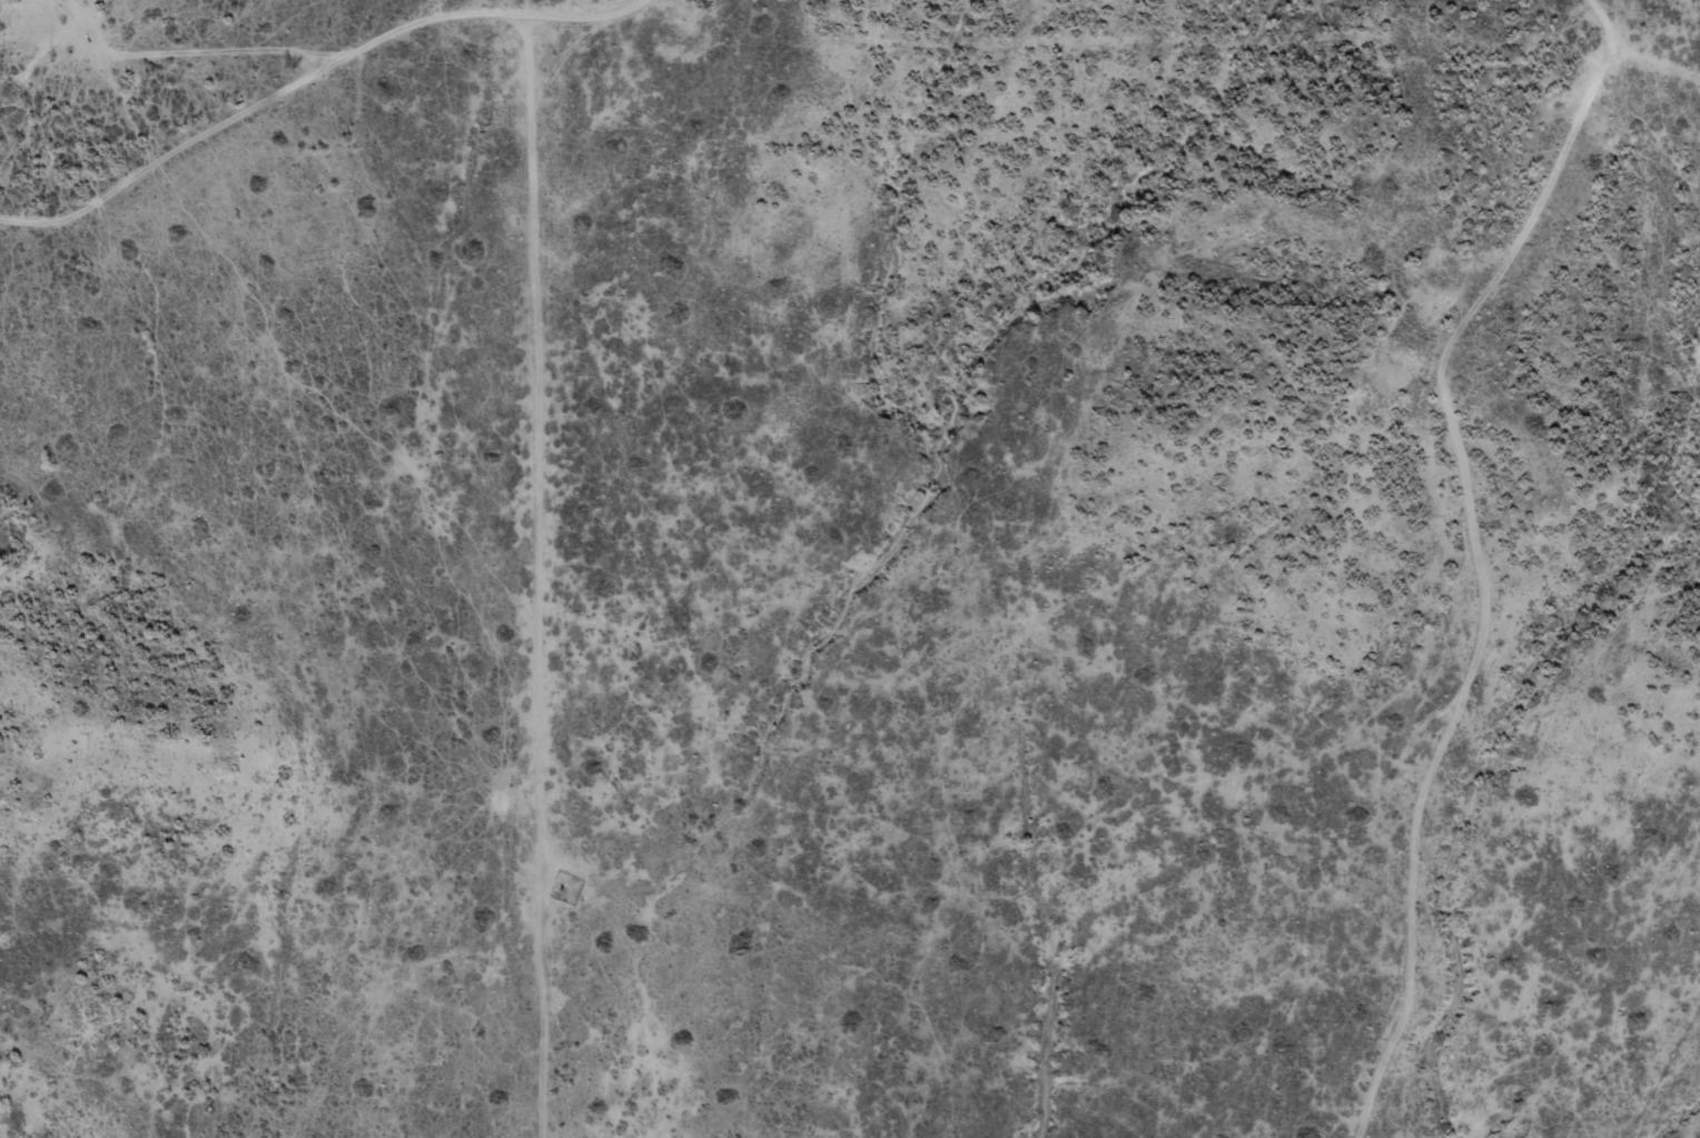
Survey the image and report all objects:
road: (1644, 30)
road: (295, 99)
road: (1442, 561)

